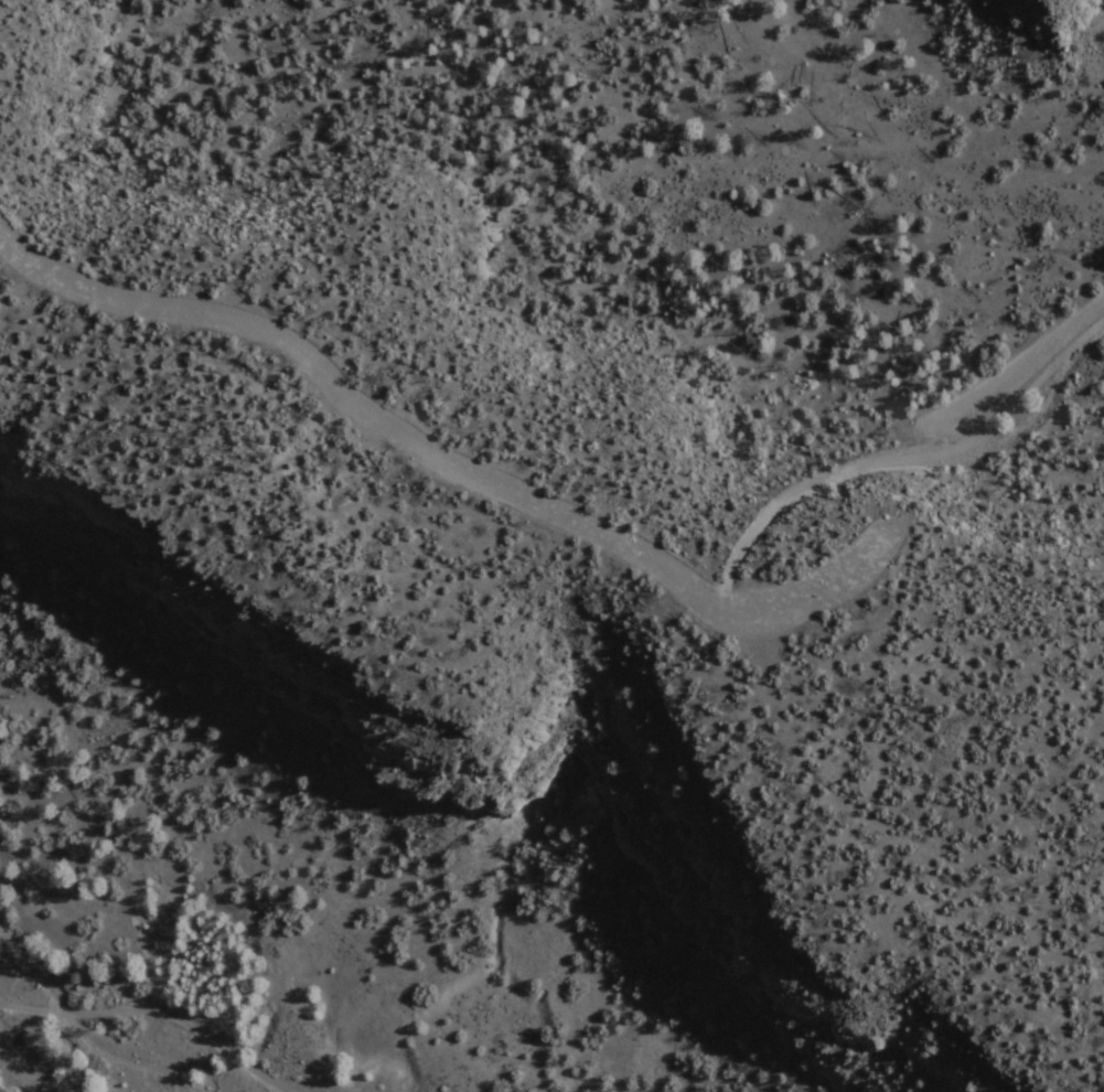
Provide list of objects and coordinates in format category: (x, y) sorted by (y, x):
road: (589, 531)
road: (178, 1016)

